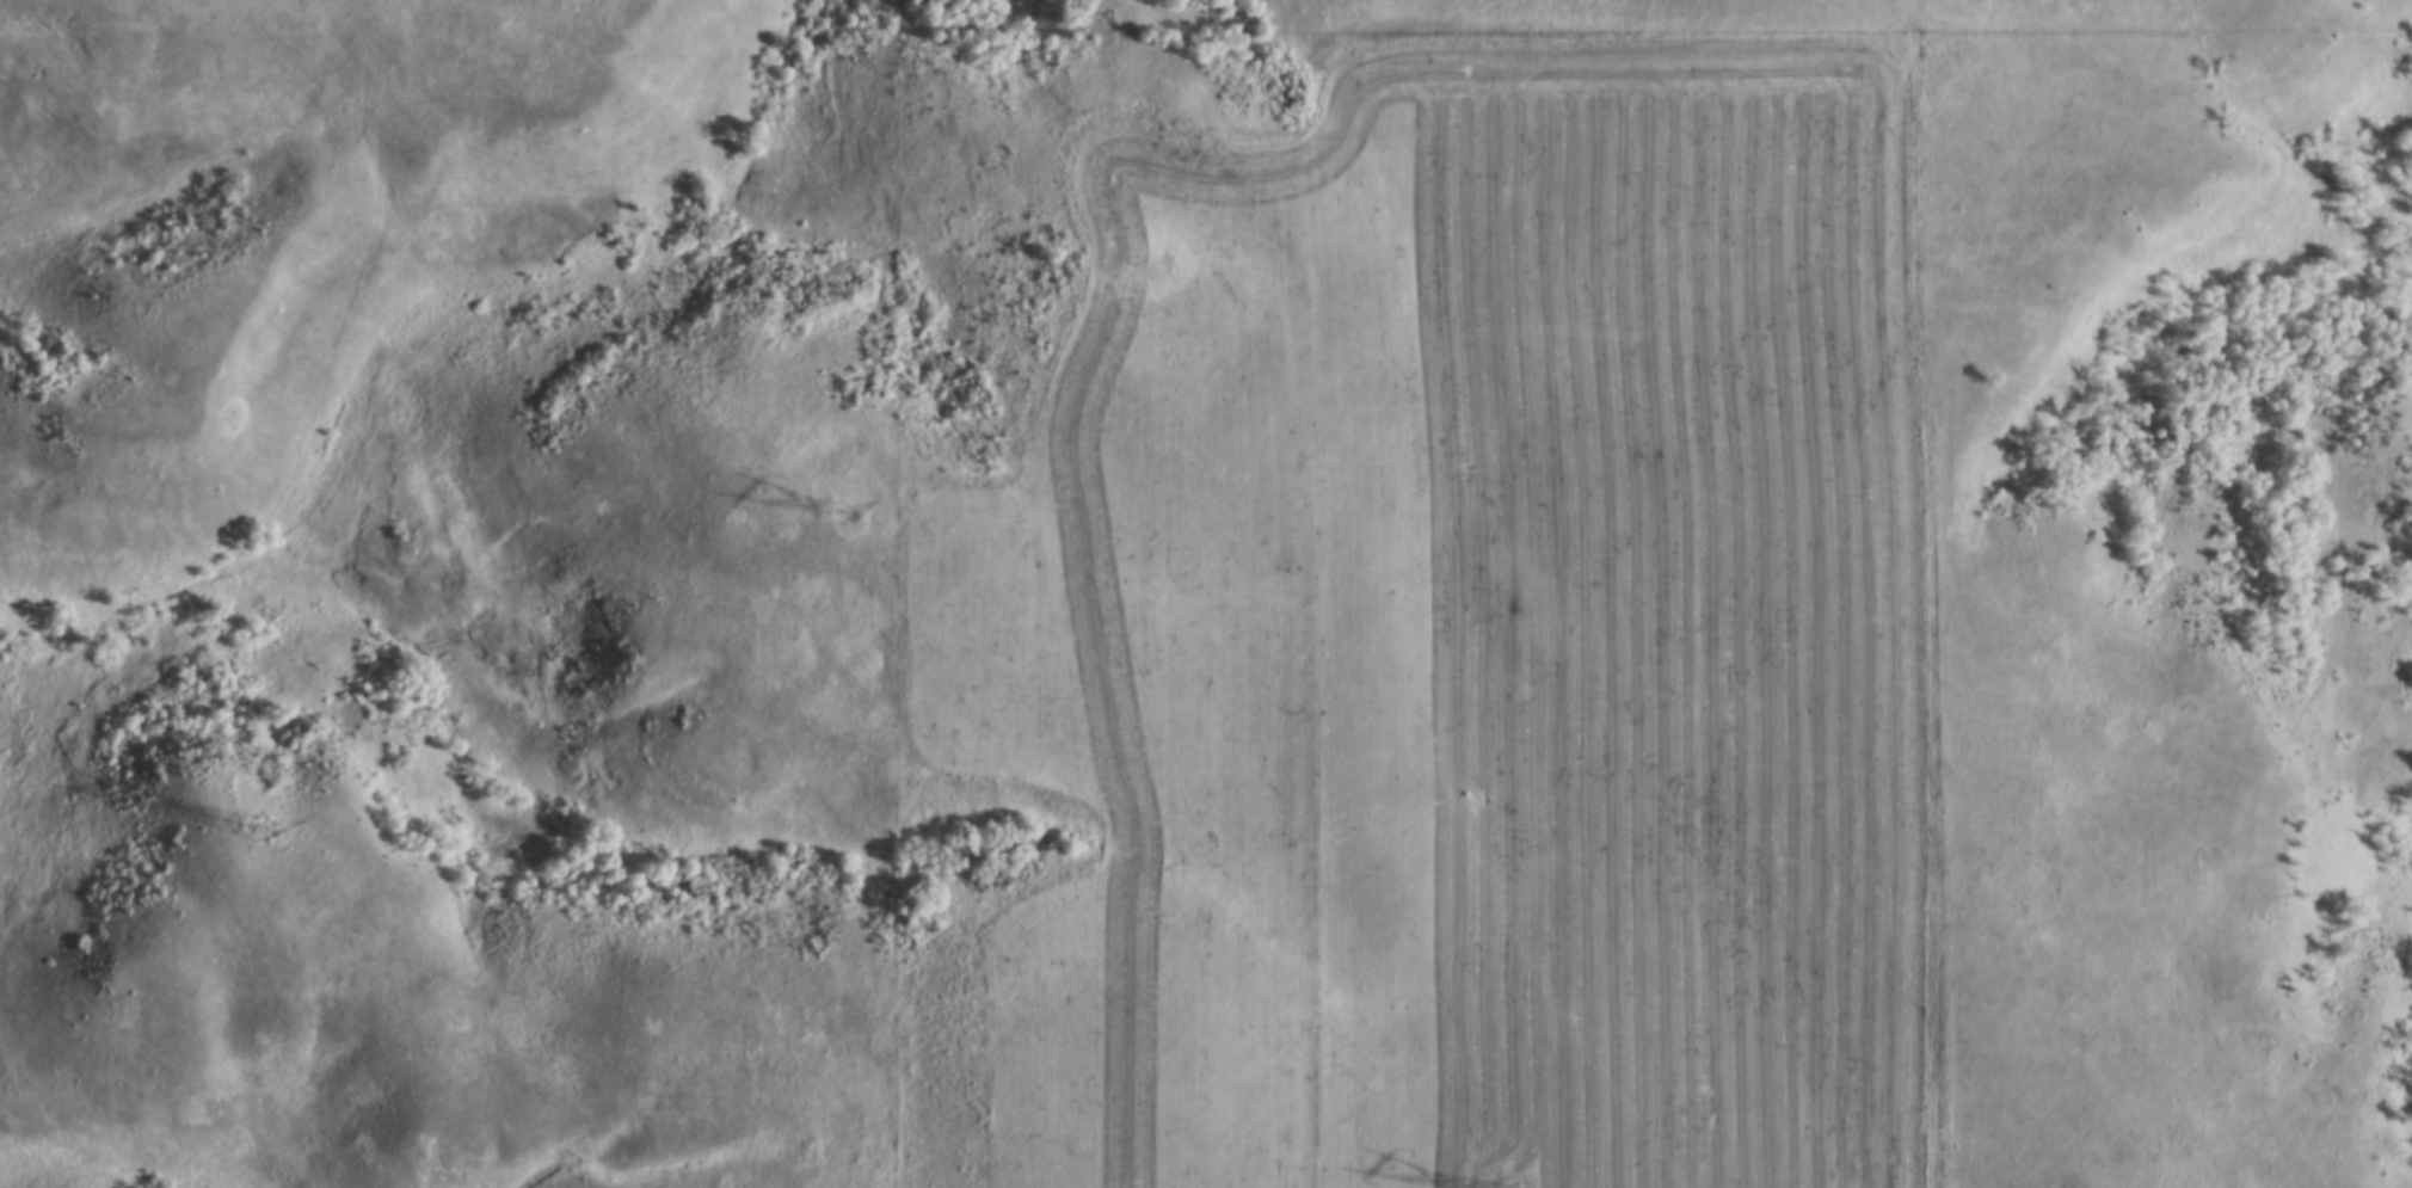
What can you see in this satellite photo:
power tower: (827, 523)
power tower: (240, 843)

